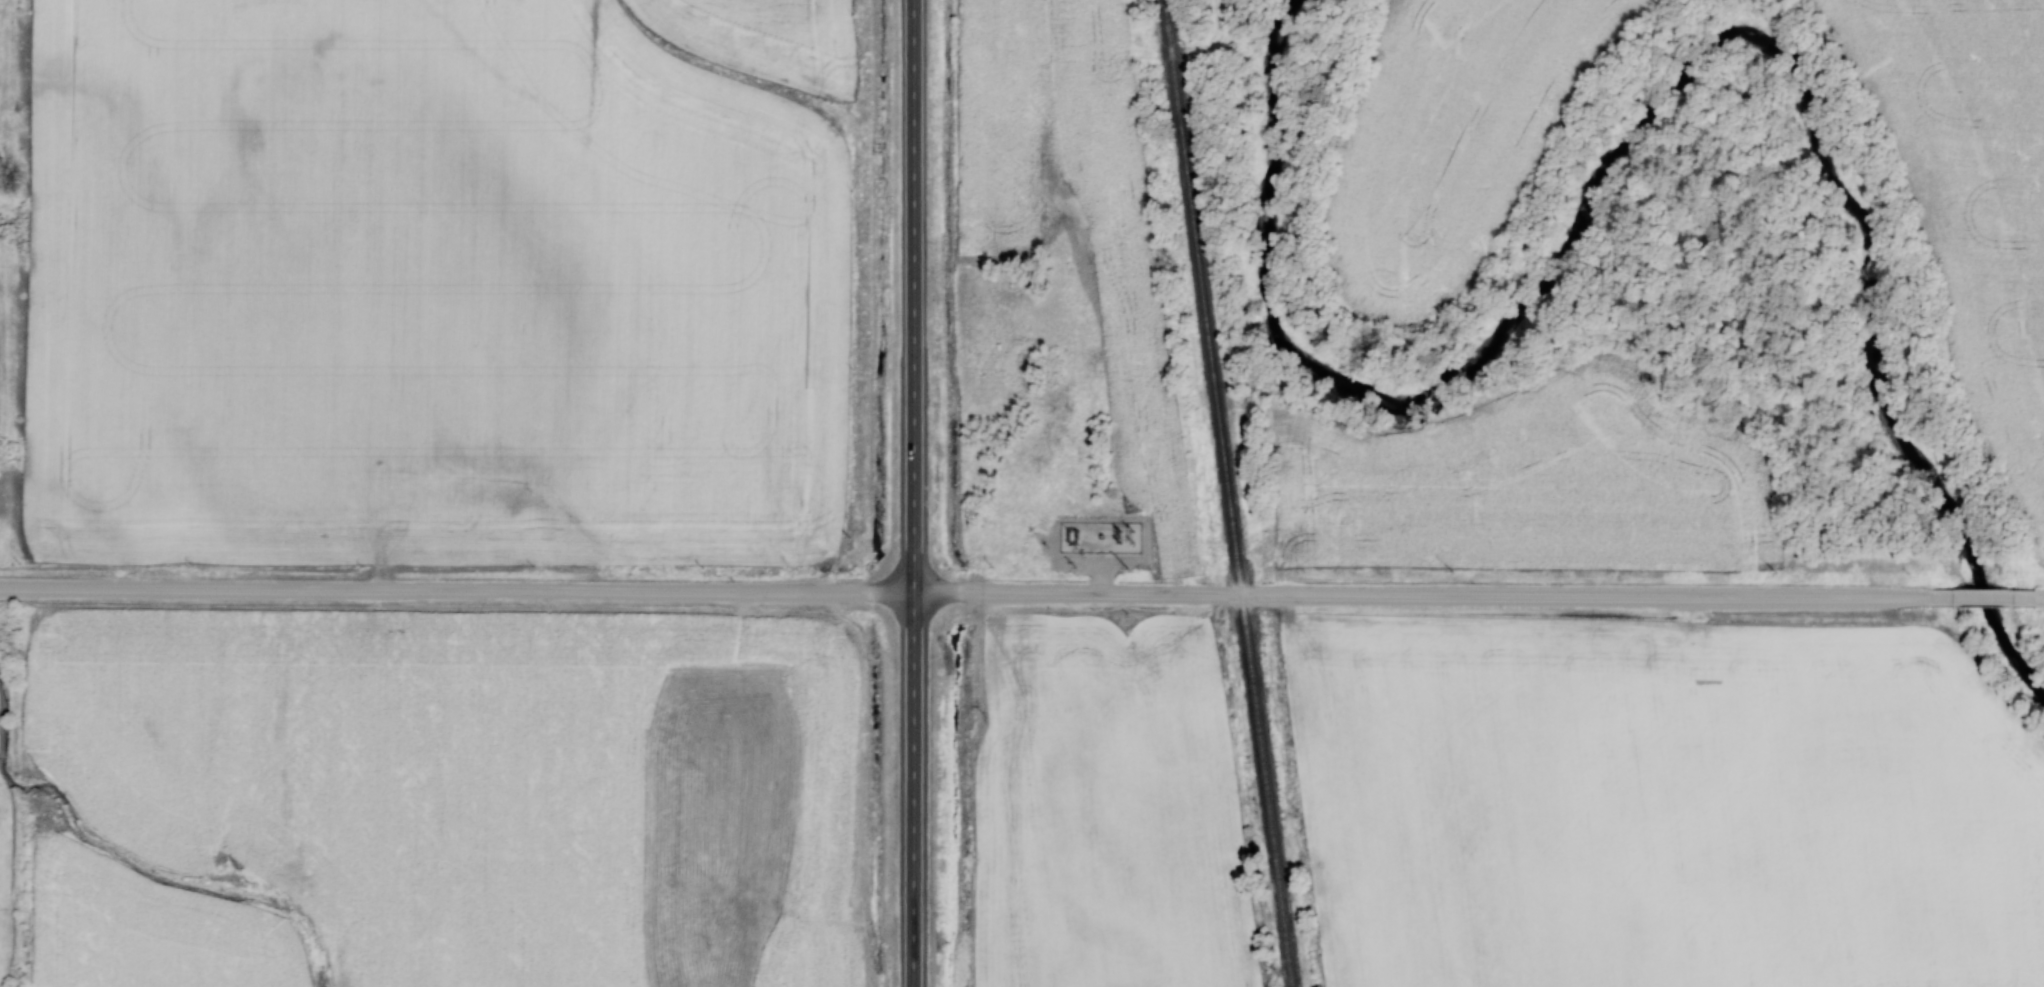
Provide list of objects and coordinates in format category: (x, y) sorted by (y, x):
river: (1669, 96)
road: (914, 493)
railway: (1228, 493)
road: (1975, 594)
road: (2030, 595)
road: (967, 597)

